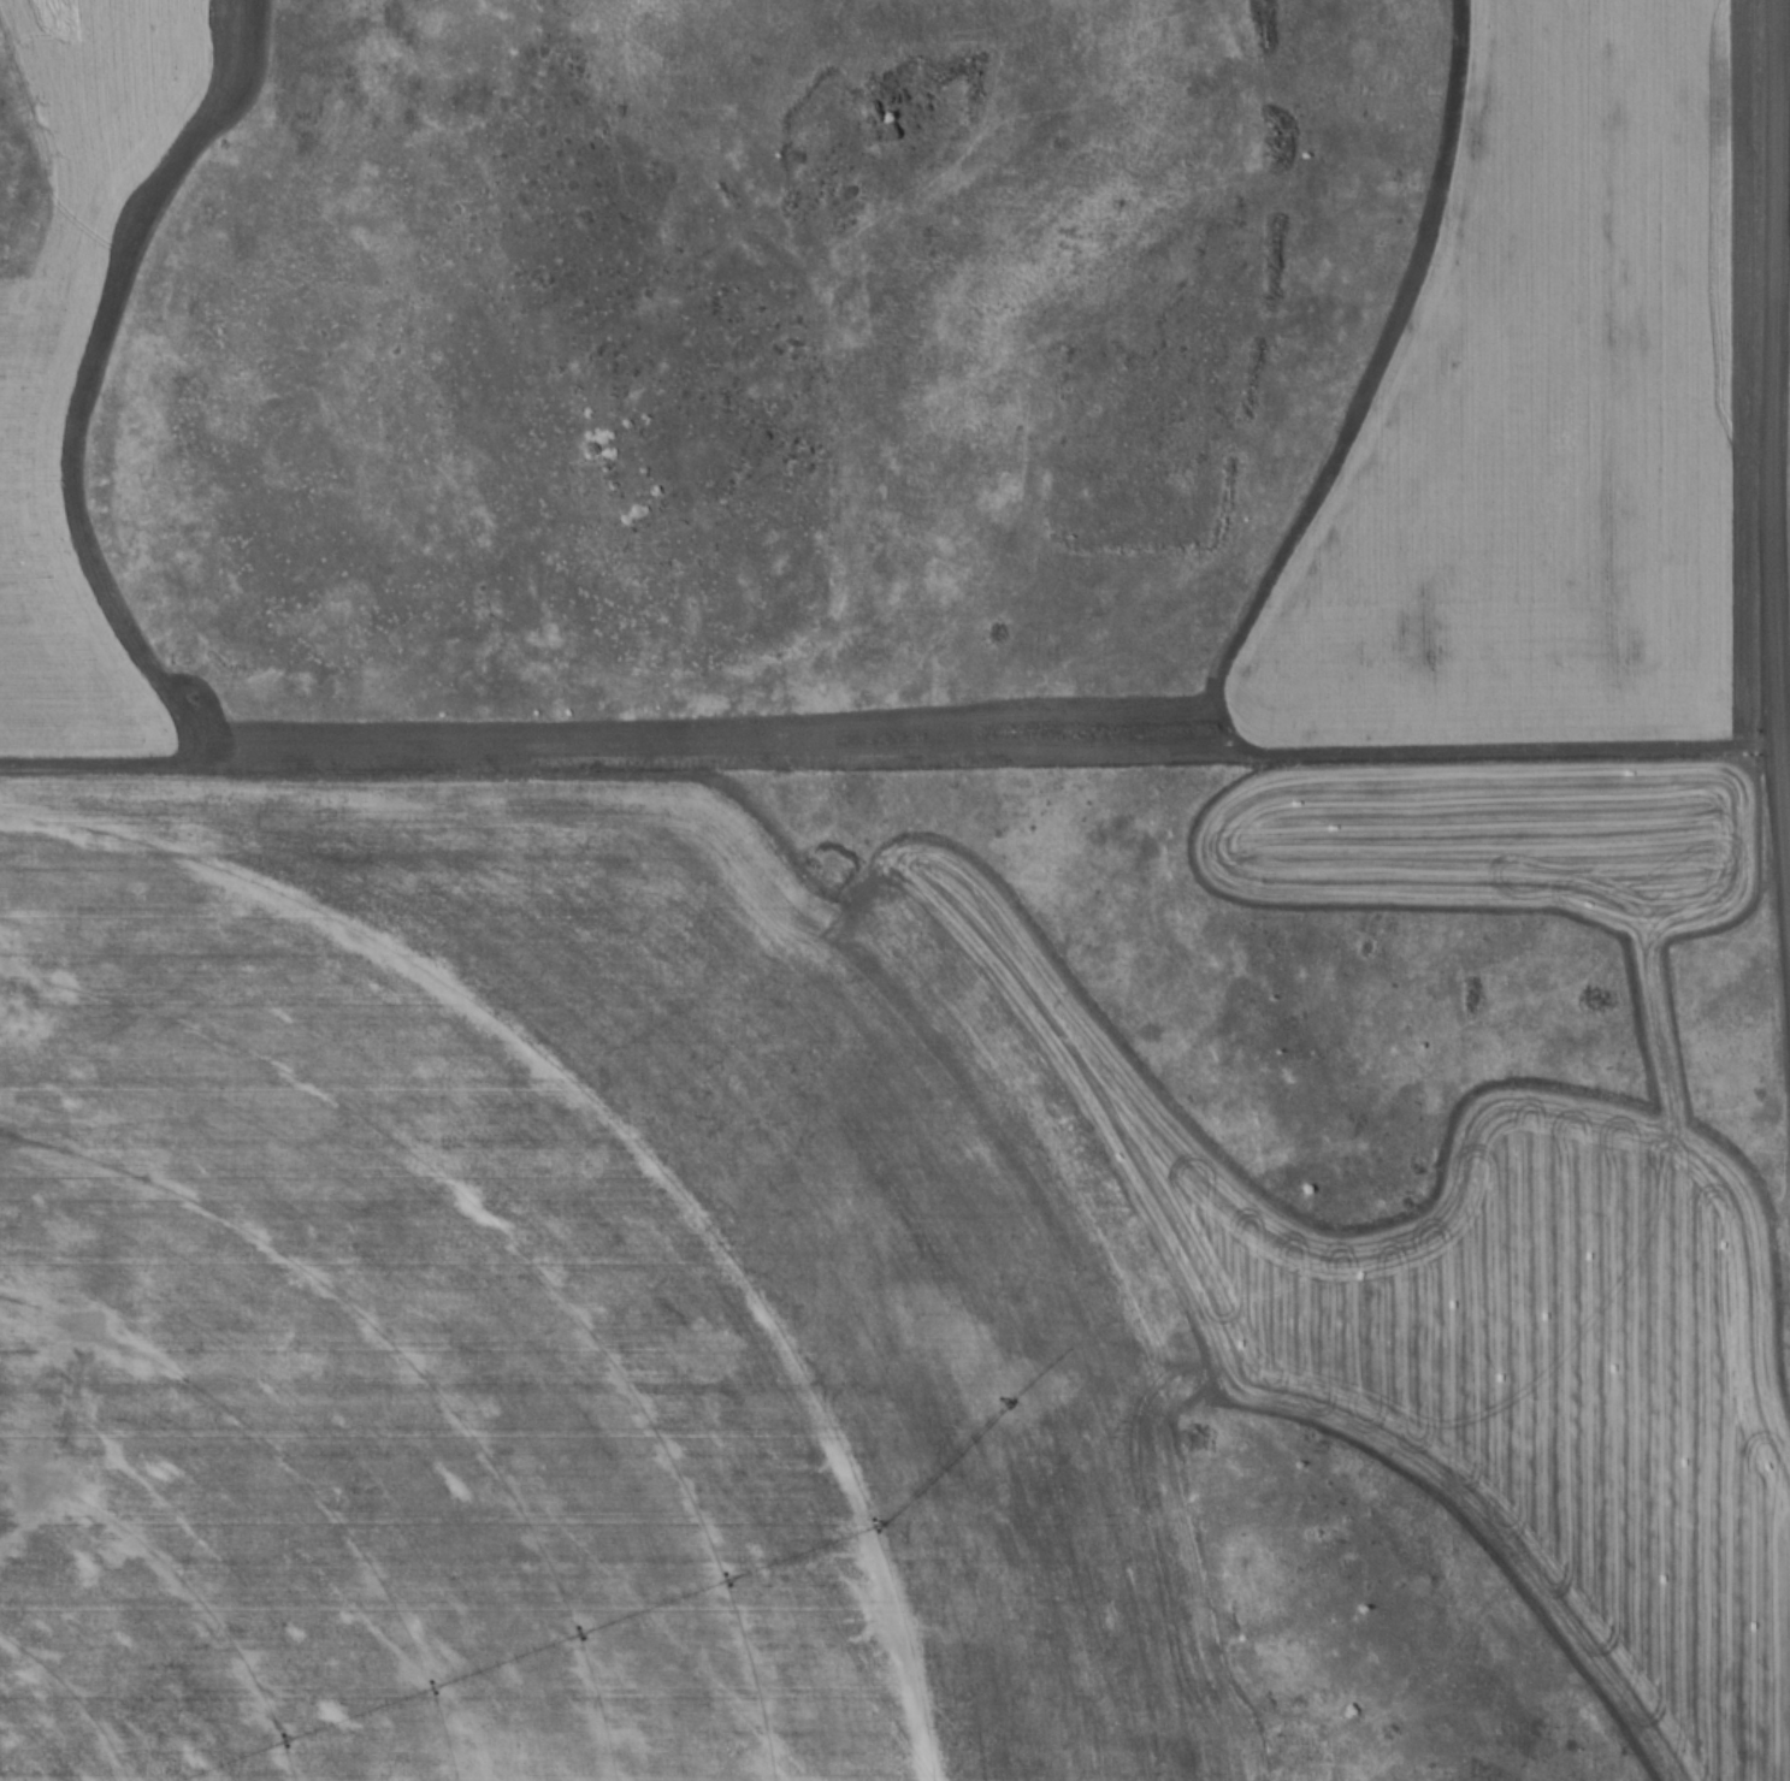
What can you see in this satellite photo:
road: (1784, 420)

